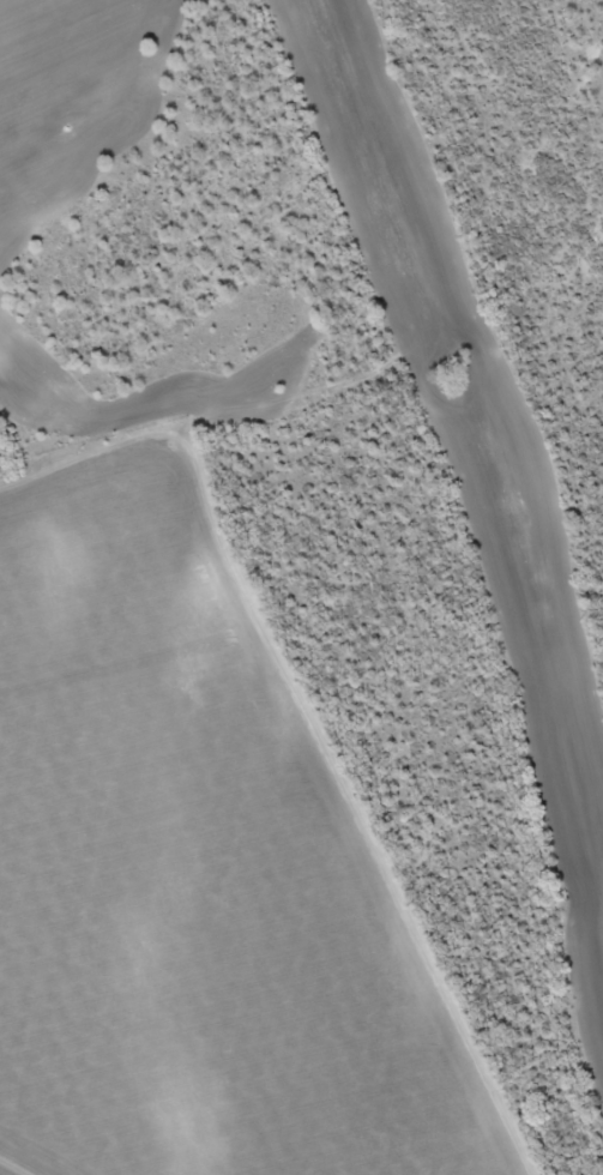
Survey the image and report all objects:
road: (324, 707)

